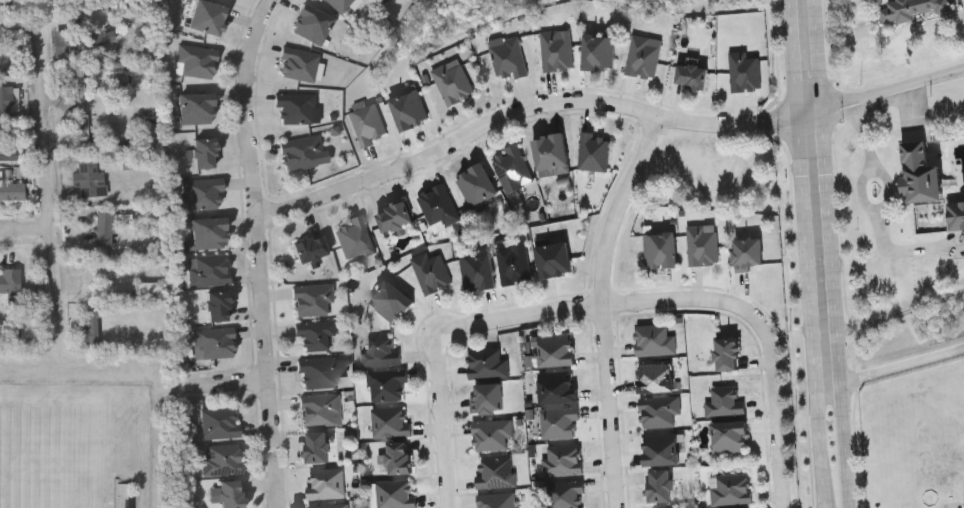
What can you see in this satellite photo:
building: (339, 4)
building: (910, 9)
building: (208, 18)
road: (22, 22)
road: (97, 23)
building: (311, 25)
building: (89, 42)
building: (556, 50)
building: (598, 51)
building: (641, 57)
road: (794, 57)
building: (507, 59)
building: (197, 62)
building: (299, 66)
building: (744, 72)
building: (692, 75)
building: (79, 82)
building: (453, 83)
road: (819, 86)
road: (892, 87)
building: (4, 100)
road: (245, 103)
building: (295, 108)
building: (196, 109)
road: (809, 110)
building: (409, 111)
road: (727, 122)
building: (366, 124)
building: (84, 129)
road: (456, 141)
road: (800, 144)
building: (594, 152)
building: (203, 153)
building: (300, 153)
building: (551, 153)
building: (8, 155)
building: (512, 169)
building: (920, 174)
building: (88, 177)
road: (862, 180)
road: (51, 183)
building: (475, 185)
building: (12, 192)
building: (202, 195)
building: (438, 208)
building: (956, 215)
building: (394, 217)
building: (105, 226)
road: (26, 228)
building: (207, 235)
building: (355, 239)
building: (702, 245)
building: (310, 249)
building: (660, 251)
building: (748, 254)
building: (554, 259)
building: (513, 263)
building: (210, 271)
building: (430, 272)
building: (477, 273)
building: (10, 281)
building: (147, 292)
building: (312, 300)
road: (597, 300)
building: (390, 302)
building: (218, 306)
road: (602, 308)
road: (811, 310)
road: (888, 316)
building: (92, 326)
building: (316, 336)
road: (838, 340)
building: (654, 341)
building: (214, 343)
building: (380, 351)
building: (556, 351)
building: (727, 355)
road: (267, 360)
building: (487, 363)
road: (890, 369)
building: (318, 374)
building: (656, 377)
building: (387, 384)
building: (557, 388)
building: (487, 398)
building: (725, 402)
road: (777, 407)
building: (320, 409)
building: (659, 412)
building: (390, 422)
building: (558, 422)
building: (219, 424)
road: (444, 425)
park: (85, 435)
building: (492, 435)
building: (729, 437)
building: (317, 447)
building: (660, 449)
park: (47, 453)
building: (397, 458)
building: (562, 460)
building: (223, 461)
building: (495, 472)
road: (823, 477)
building: (326, 483)
building: (659, 486)
building: (730, 489)
building: (395, 494)
building: (228, 495)
building: (565, 495)
building: (497, 500)
building: (329, 506)
building: (674, 507)

